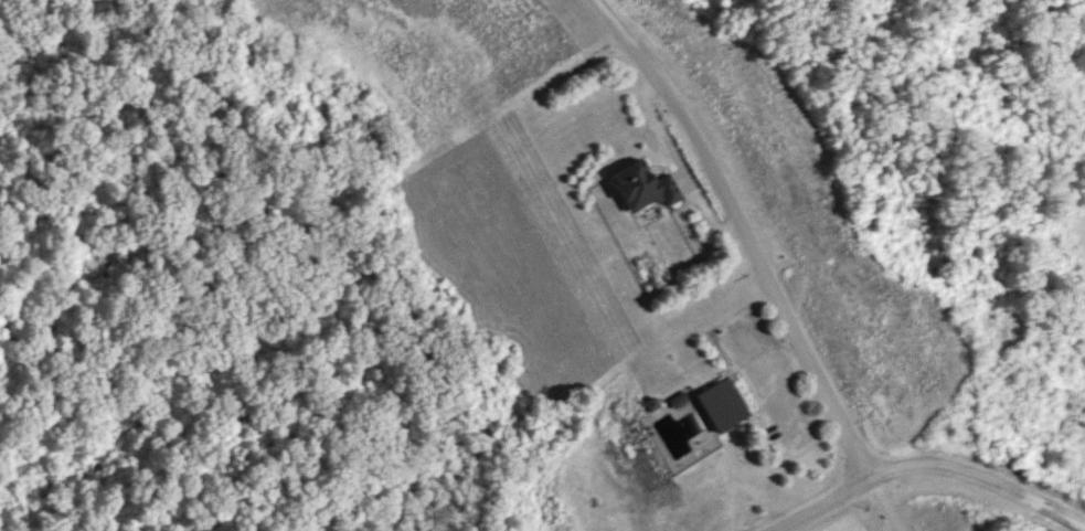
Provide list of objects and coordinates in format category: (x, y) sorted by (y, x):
building: (639, 188)
road: (755, 259)
building: (721, 403)
road: (929, 467)

